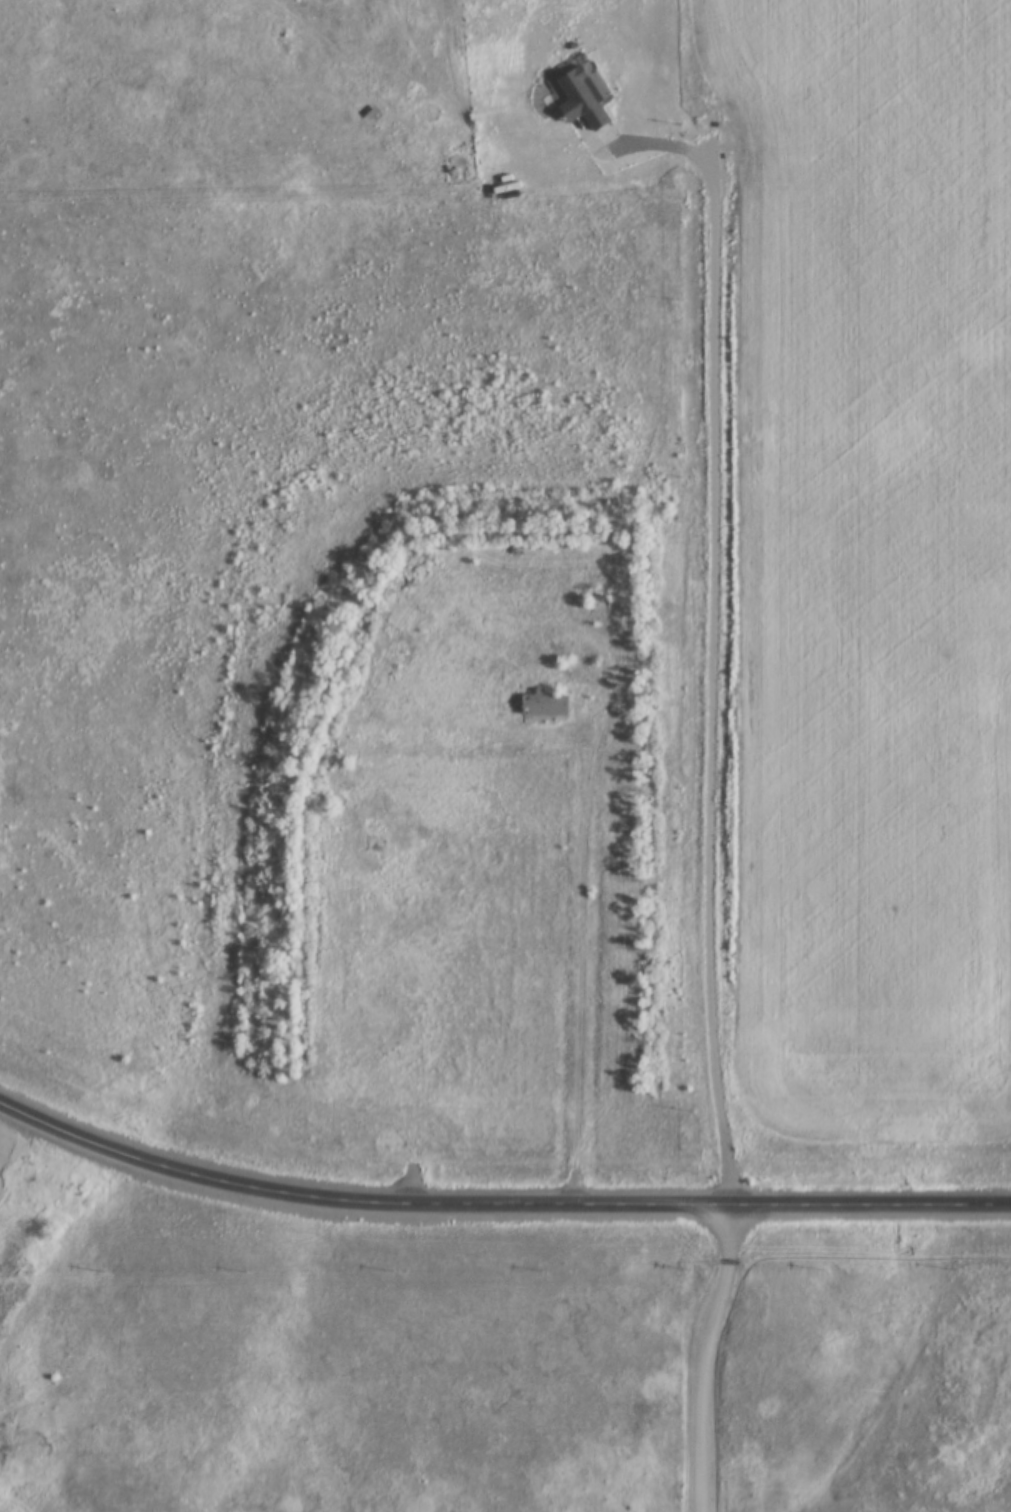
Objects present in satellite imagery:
building: (578, 98)
building: (541, 703)
road: (584, 952)
road: (497, 1206)
road: (701, 1357)

